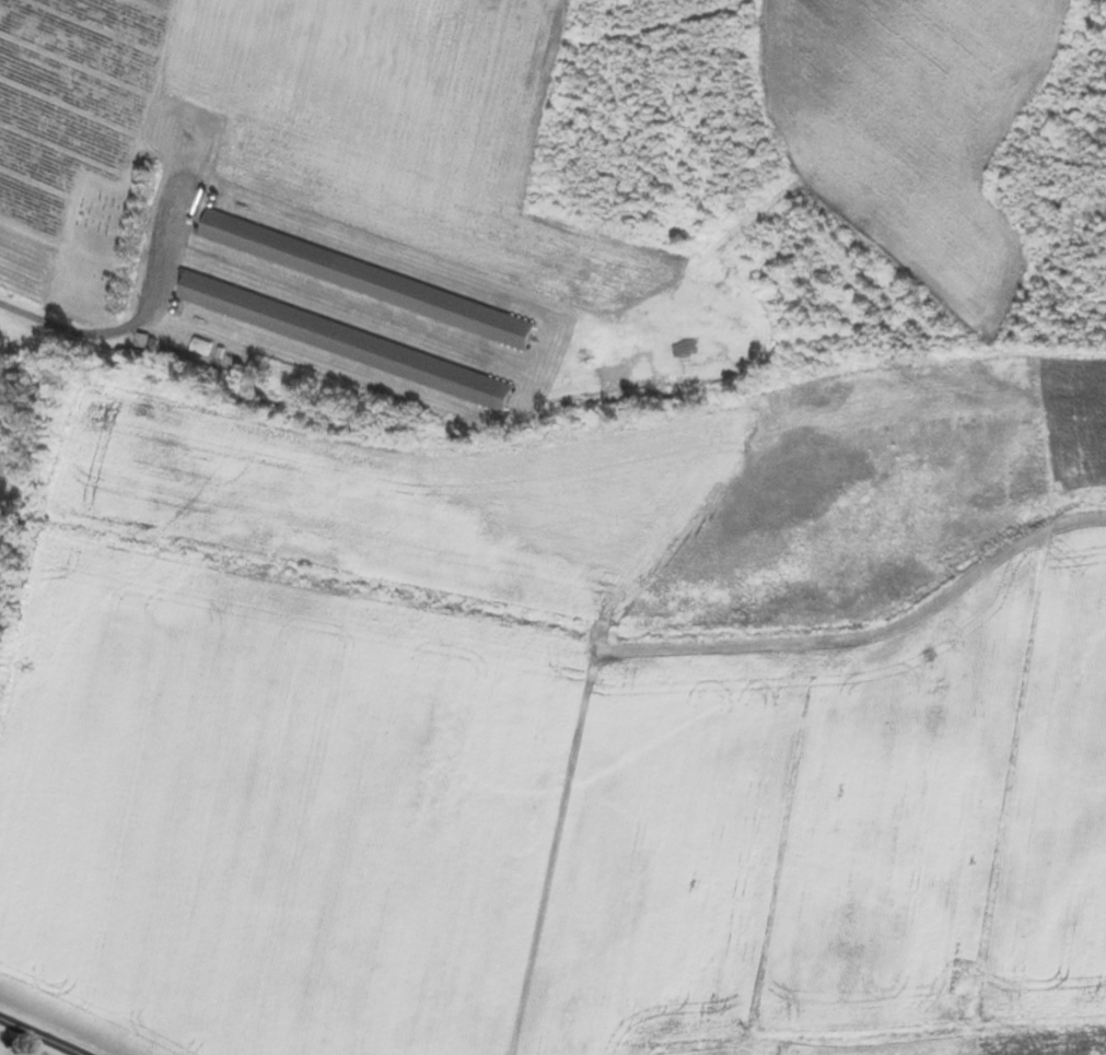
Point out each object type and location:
building: (368, 278)
road: (128, 330)
building: (346, 339)
road: (40, 1036)

